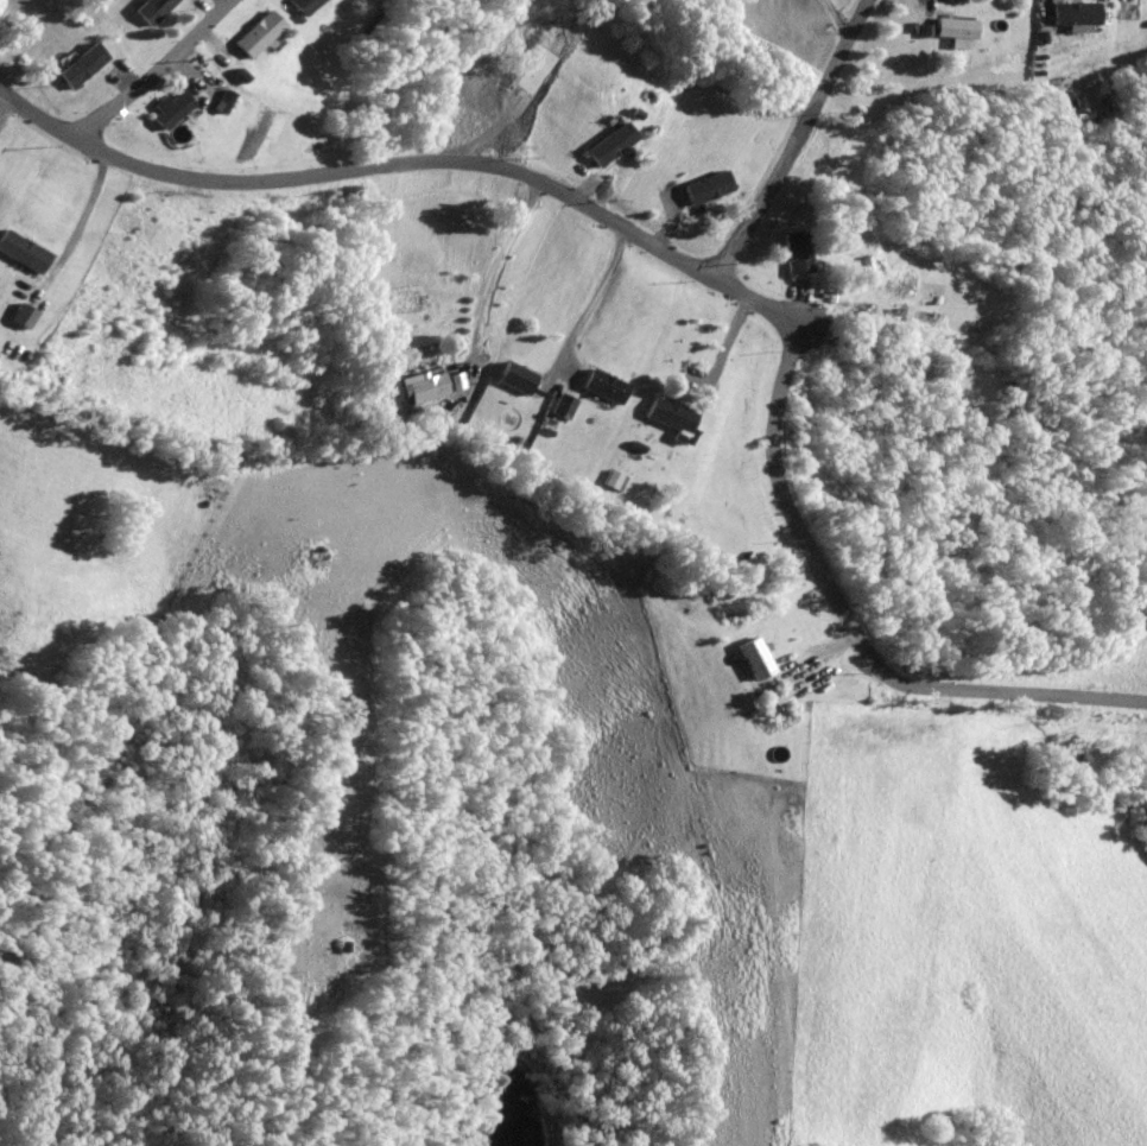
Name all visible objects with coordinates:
road: (222, 2)
building: (305, 5)
road: (1130, 7)
road: (203, 8)
building: (152, 10)
building: (1079, 12)
road: (931, 14)
road: (842, 19)
building: (961, 27)
building: (260, 32)
road: (216, 44)
building: (75, 65)
road: (152, 72)
building: (241, 75)
road: (178, 76)
road: (5, 107)
building: (175, 108)
road: (796, 140)
building: (610, 144)
road: (361, 166)
road: (592, 184)
building: (706, 188)
road: (81, 222)
road: (666, 229)
building: (25, 251)
building: (797, 251)
road: (488, 281)
road: (758, 302)
road: (800, 303)
road: (585, 312)
building: (19, 315)
road: (729, 353)
building: (519, 376)
building: (451, 380)
building: (609, 384)
building: (429, 386)
building: (565, 405)
building: (670, 414)
building: (323, 559)
building: (665, 569)
road: (849, 627)
road: (824, 656)
building: (759, 657)
building: (772, 684)
building: (785, 699)
building: (344, 946)

